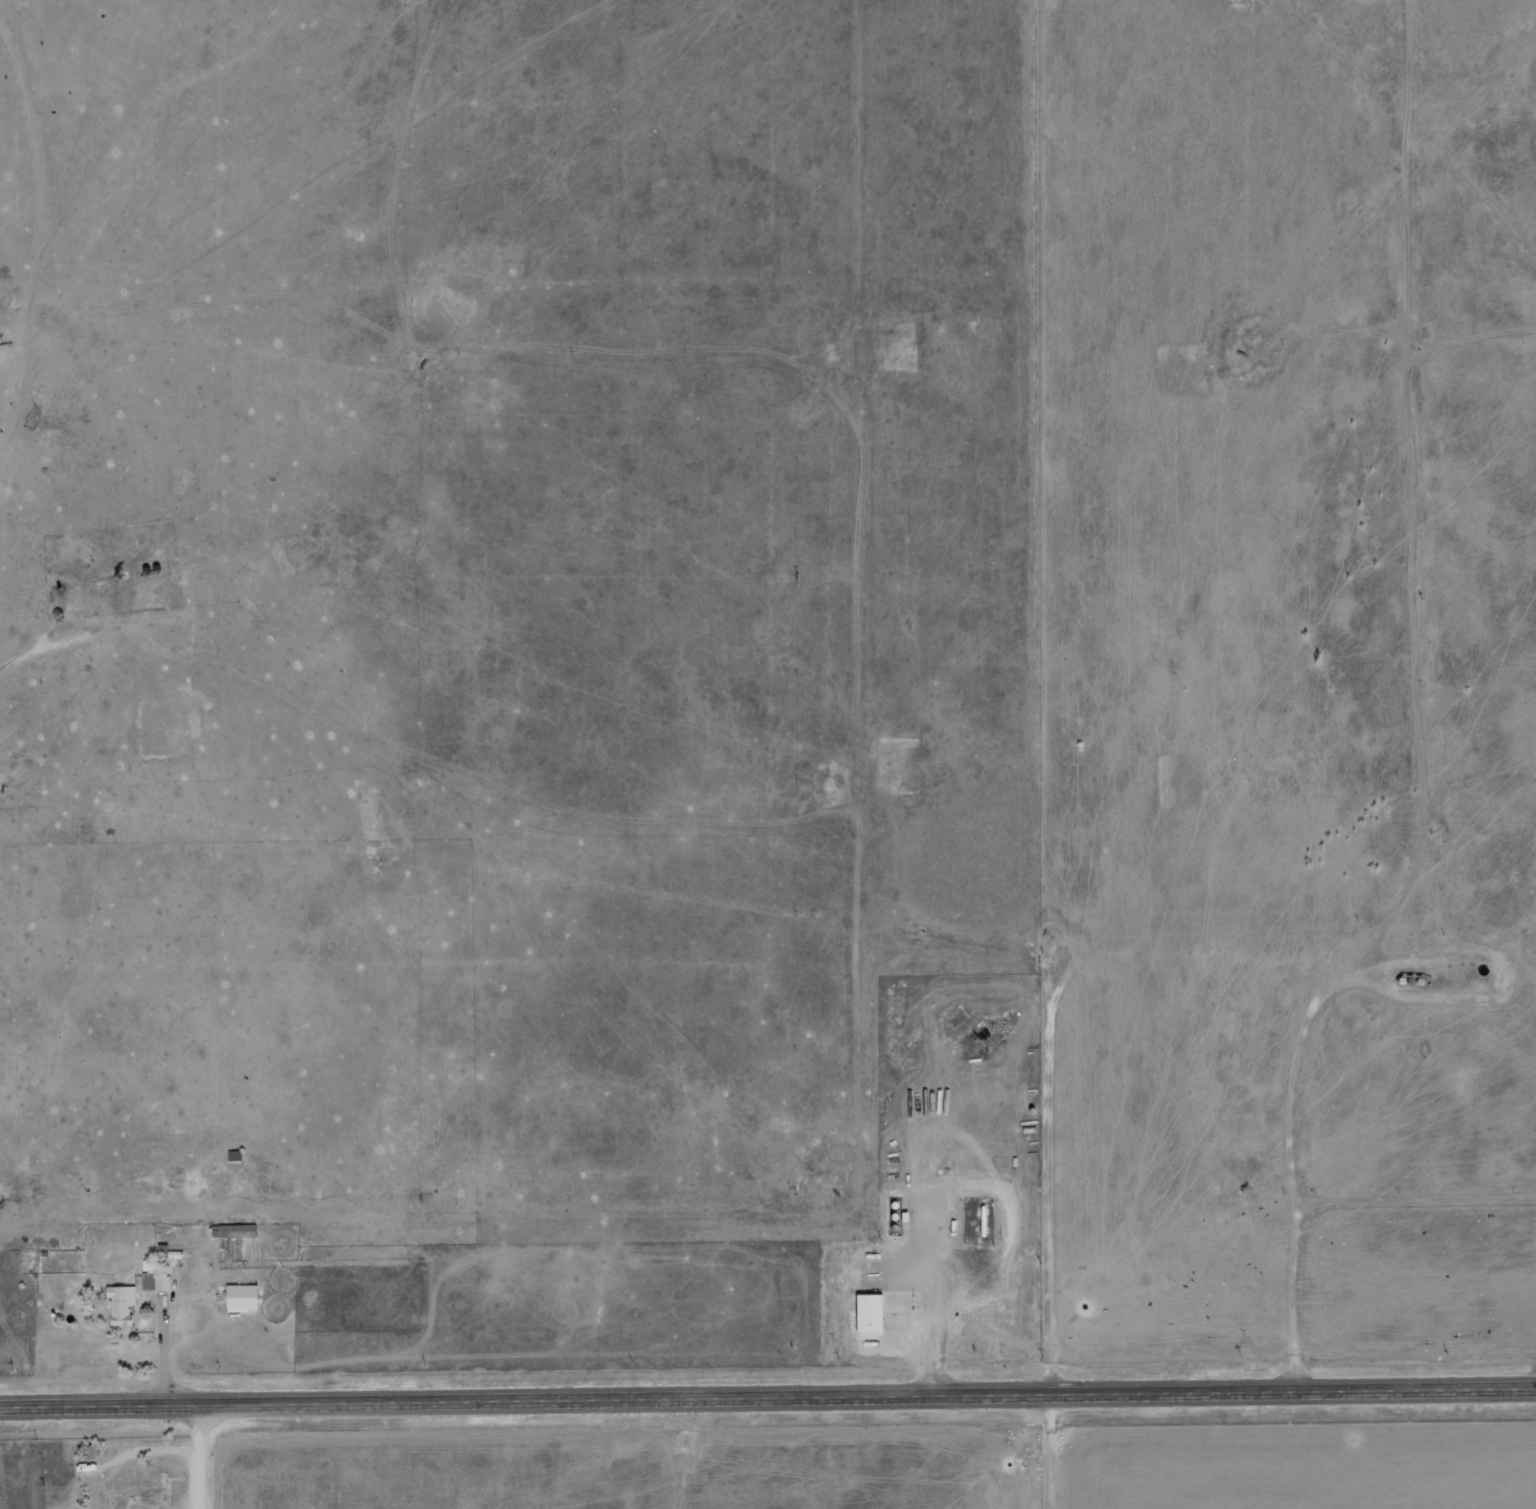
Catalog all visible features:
building: (156, 1282)
building: (242, 1297)
building: (122, 1305)
building: (869, 1313)
road: (767, 1398)
road: (231, 1457)

